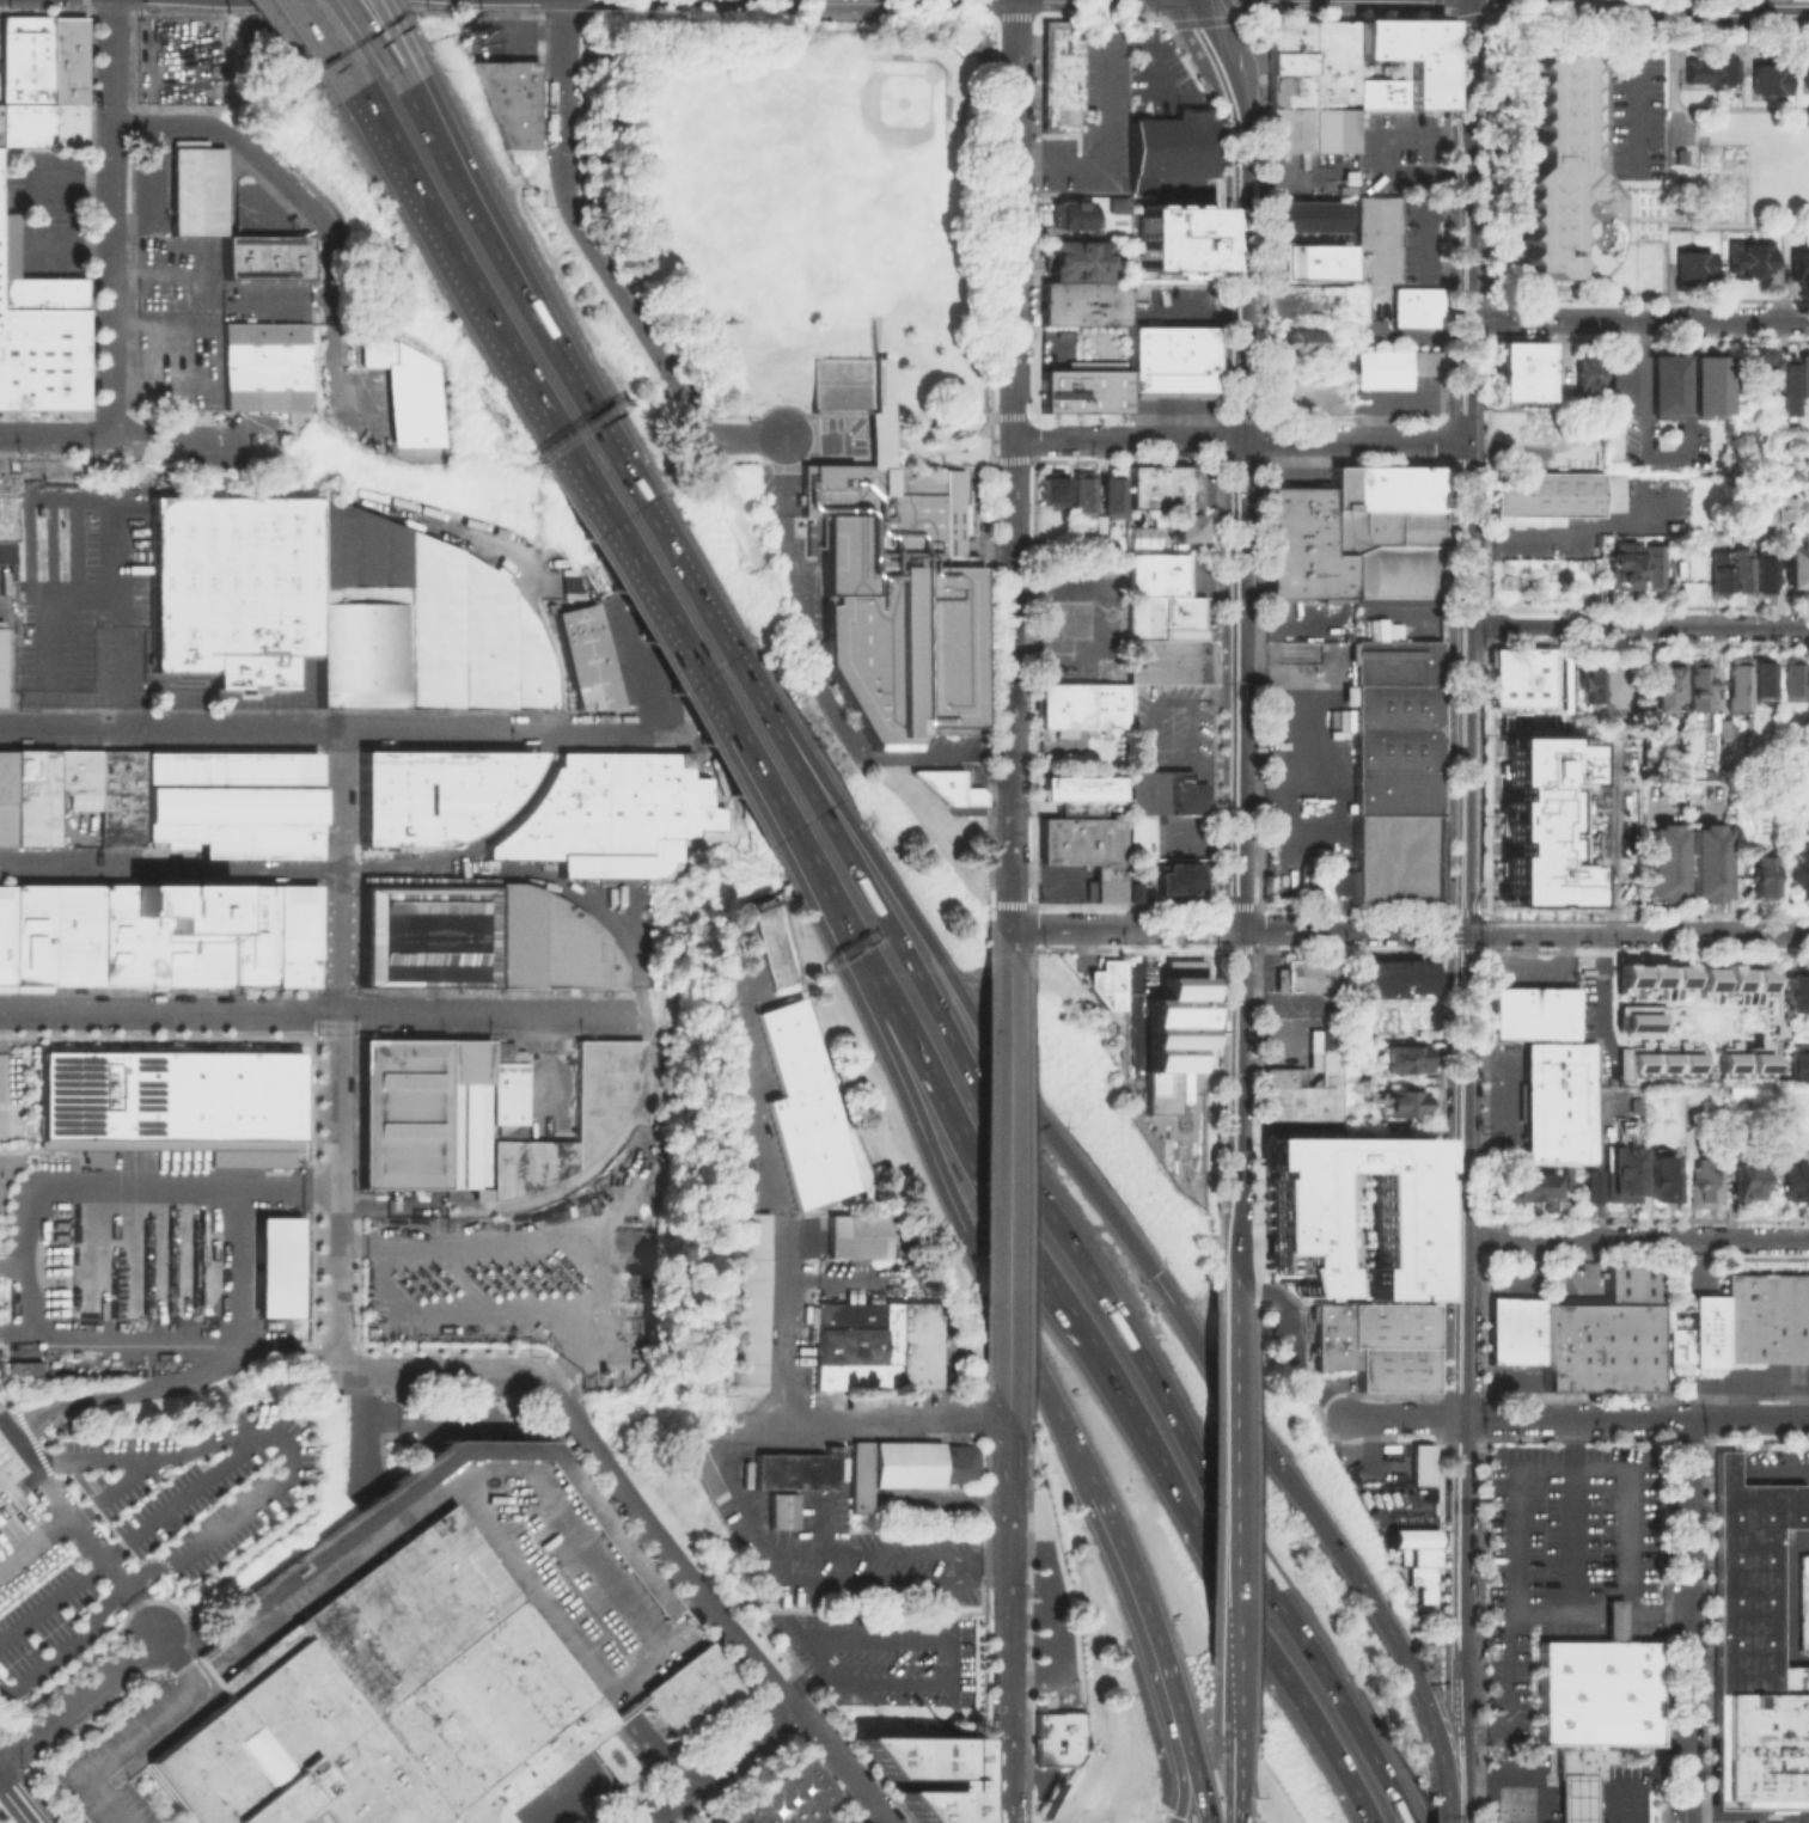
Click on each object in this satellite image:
road: (289, 11)
road: (563, 13)
road: (1012, 14)
road: (1693, 14)
road: (788, 16)
road: (1102, 16)
building: (1395, 37)
road: (392, 38)
road: (368, 42)
road: (316, 43)
building: (1285, 44)
building: (1319, 59)
building: (1340, 59)
parking lot: (179, 60)
road: (1227, 61)
road: (1673, 62)
road: (1468, 67)
building: (1712, 75)
building: (1062, 78)
building: (1808, 78)
road: (1153, 79)
building: (24, 80)
building: (65, 80)
building: (1401, 85)
building: (1770, 85)
road: (1637, 94)
building: (507, 98)
road: (416, 105)
road: (562, 108)
road: (409, 109)
road: (1740, 110)
building: (1302, 116)
road: (1100, 122)
road: (165, 126)
park: (864, 130)
building: (189, 142)
building: (1168, 145)
road: (1377, 151)
road: (1015, 153)
road: (1621, 164)
building: (1556, 165)
road: (1694, 169)
road: (1608, 175)
road: (276, 176)
park: (777, 179)
road: (67, 182)
building: (197, 190)
road: (109, 203)
building: (1118, 203)
building: (1075, 214)
road: (1216, 214)
building: (1303, 215)
road: (1737, 227)
building: (1376, 238)
road: (65, 247)
building: (1178, 252)
building: (267, 256)
building: (1074, 258)
building: (1308, 259)
building: (1752, 262)
building: (1694, 269)
building: (1801, 270)
road: (511, 274)
building: (32, 281)
building: (1332, 295)
building: (1081, 302)
building: (1412, 305)
road: (332, 312)
road: (1194, 312)
road: (1640, 319)
road: (637, 324)
building: (1301, 339)
building: (1147, 357)
building: (1190, 357)
building: (41, 359)
building: (263, 366)
building: (1389, 366)
building: (1760, 373)
building: (1524, 374)
building: (1588, 374)
building: (1804, 379)
building: (1711, 386)
building: (1624, 389)
building: (1667, 389)
building: (1081, 390)
building: (409, 391)
building: (1787, 392)
road: (109, 418)
road: (163, 433)
road: (6, 436)
road: (61, 436)
road: (1242, 439)
road: (813, 441)
road: (740, 442)
road: (557, 445)
road: (1526, 448)
road: (1663, 454)
building: (7, 483)
building: (1162, 485)
building: (1353, 485)
building: (1407, 485)
building: (1053, 487)
building: (1083, 493)
building: (1113, 494)
building: (1553, 500)
building: (1783, 507)
road: (653, 514)
building: (1182, 526)
building: (1381, 526)
road: (1560, 533)
building: (1141, 537)
building: (1106, 543)
building: (1279, 544)
building: (1319, 552)
road: (1013, 559)
building: (1626, 567)
building: (1793, 569)
building: (1655, 570)
building: (1718, 571)
building: (1154, 573)
building: (1741, 573)
building: (1394, 574)
building: (1765, 574)
building: (888, 576)
building: (569, 582)
parking lot: (81, 595)
building: (332, 606)
road: (532, 607)
building: (1, 623)
road: (1640, 626)
road: (1486, 635)
building: (1165, 638)
road: (1646, 644)
building: (583, 656)
building: (1, 663)
road: (636, 665)
building: (1517, 674)
road: (814, 680)
building: (1764, 683)
building: (1793, 683)
building: (1589, 686)
building: (1663, 686)
building: (1736, 686)
building: (1698, 690)
road: (1240, 691)
building: (1081, 708)
building: (1393, 726)
road: (157, 728)
building: (1722, 729)
road: (482, 730)
building: (1670, 766)
building: (5, 775)
building: (77, 777)
road: (1485, 777)
building: (948, 785)
building: (434, 793)
building: (1076, 794)
building: (1168, 794)
building: (31, 797)
building: (230, 800)
building: (612, 813)
building: (4, 822)
building: (1535, 822)
building: (1141, 838)
road: (472, 839)
road: (1608, 842)
building: (1084, 852)
building: (1391, 857)
building: (1662, 865)
building: (1707, 865)
building: (1797, 869)
road: (1010, 870)
road: (170, 871)
building: (1337, 875)
building: (1764, 876)
building: (1177, 880)
building: (1131, 891)
building: (1320, 891)
road: (1478, 911)
road: (1646, 912)
road: (1472, 918)
road: (604, 919)
road: (1485, 920)
road: (1241, 929)
road: (1639, 931)
building: (157, 934)
building: (430, 936)
road: (1010, 938)
building: (550, 942)
building: (758, 942)
road: (931, 942)
building: (1312, 977)
building: (1392, 979)
building: (1649, 980)
building: (1730, 981)
building: (1104, 983)
building: (1798, 992)
road: (1600, 993)
building: (1634, 1008)
building: (1530, 1011)
road: (169, 1013)
road: (482, 1013)
building: (1163, 1017)
building: (1638, 1023)
road: (907, 1032)
building: (1640, 1035)
road: (337, 1047)
building: (503, 1050)
building: (1661, 1058)
building: (1740, 1058)
building: (1401, 1062)
road: (732, 1068)
building: (1799, 1068)
road: (1, 1073)
building: (1302, 1085)
building: (167, 1093)
building: (1554, 1101)
building: (1398, 1106)
building: (790, 1107)
building: (475, 1112)
road: (929, 1139)
road: (31, 1151)
building: (1624, 1167)
building: (1663, 1175)
road: (1009, 1177)
building: (1748, 1183)
building: (1795, 1183)
building: (1585, 1188)
building: (1703, 1189)
building: (1529, 1191)
building: (1347, 1195)
road: (32, 1217)
road: (1059, 1218)
building: (1295, 1218)
building: (849, 1234)
road: (1640, 1240)
road: (16, 1262)
road: (1235, 1262)
road: (403, 1266)
building: (280, 1267)
road: (234, 1268)
parking lot: (513, 1272)
building: (1345, 1281)
building: (1631, 1286)
building: (734, 1301)
road: (772, 1314)
building: (1765, 1323)
road: (17, 1333)
building: (1516, 1335)
building: (1376, 1344)
road: (1289, 1345)
building: (1697, 1345)
building: (841, 1346)
building: (885, 1346)
building: (916, 1346)
building: (1600, 1353)
building: (24, 1366)
road: (436, 1371)
road: (167, 1381)
road: (891, 1418)
road: (1404, 1418)
road: (1637, 1418)
road: (361, 1433)
road: (1263, 1439)
building: (957, 1461)
building: (903, 1462)
building: (1419, 1463)
building: (790, 1467)
road: (12, 1468)
building: (692, 1469)
building: (856, 1474)
road: (731, 1487)
road: (1235, 1488)
road: (111, 1492)
parking lot: (1803, 1499)
road: (256, 1501)
building: (776, 1510)
road: (563, 1512)
parking lot: (129, 1528)
road: (80, 1529)
building: (346, 1531)
parking lot: (824, 1535)
building: (1408, 1536)
road: (132, 1538)
road: (1211, 1541)
road: (809, 1549)
building: (1399, 1554)
road: (924, 1555)
building: (1418, 1555)
road: (679, 1562)
parking lot: (1563, 1571)
road: (881, 1579)
building: (1419, 1582)
road: (1606, 1610)
road: (1007, 1614)
road: (1043, 1614)
building: (1614, 1620)
road: (1686, 1620)
road: (951, 1635)
road: (1162, 1645)
road: (1145, 1647)
building: (1754, 1651)
parking lot: (881, 1656)
building: (690, 1689)
building: (1599, 1692)
road: (74, 1697)
building: (390, 1701)
road: (1425, 1708)
road: (152, 1726)
building: (1056, 1737)
parking lot: (132, 1752)
road: (1466, 1761)
building: (1579, 1761)
road: (716, 1762)
road: (1237, 1762)
building: (929, 1773)
road: (1509, 1785)
road: (860, 1786)
building: (783, 1798)
building: (1572, 1798)
gas station: (1572, 1798)
road: (14, 1804)
road: (1577, 1807)
traffic signals: (1181, 1810)
parking lot: (1758, 1813)
road: (866, 1815)
road: (1153, 1816)
road: (1747, 1817)
road: (1171, 1818)
parking lot: (848, 1819)
building: (703, 1821)

